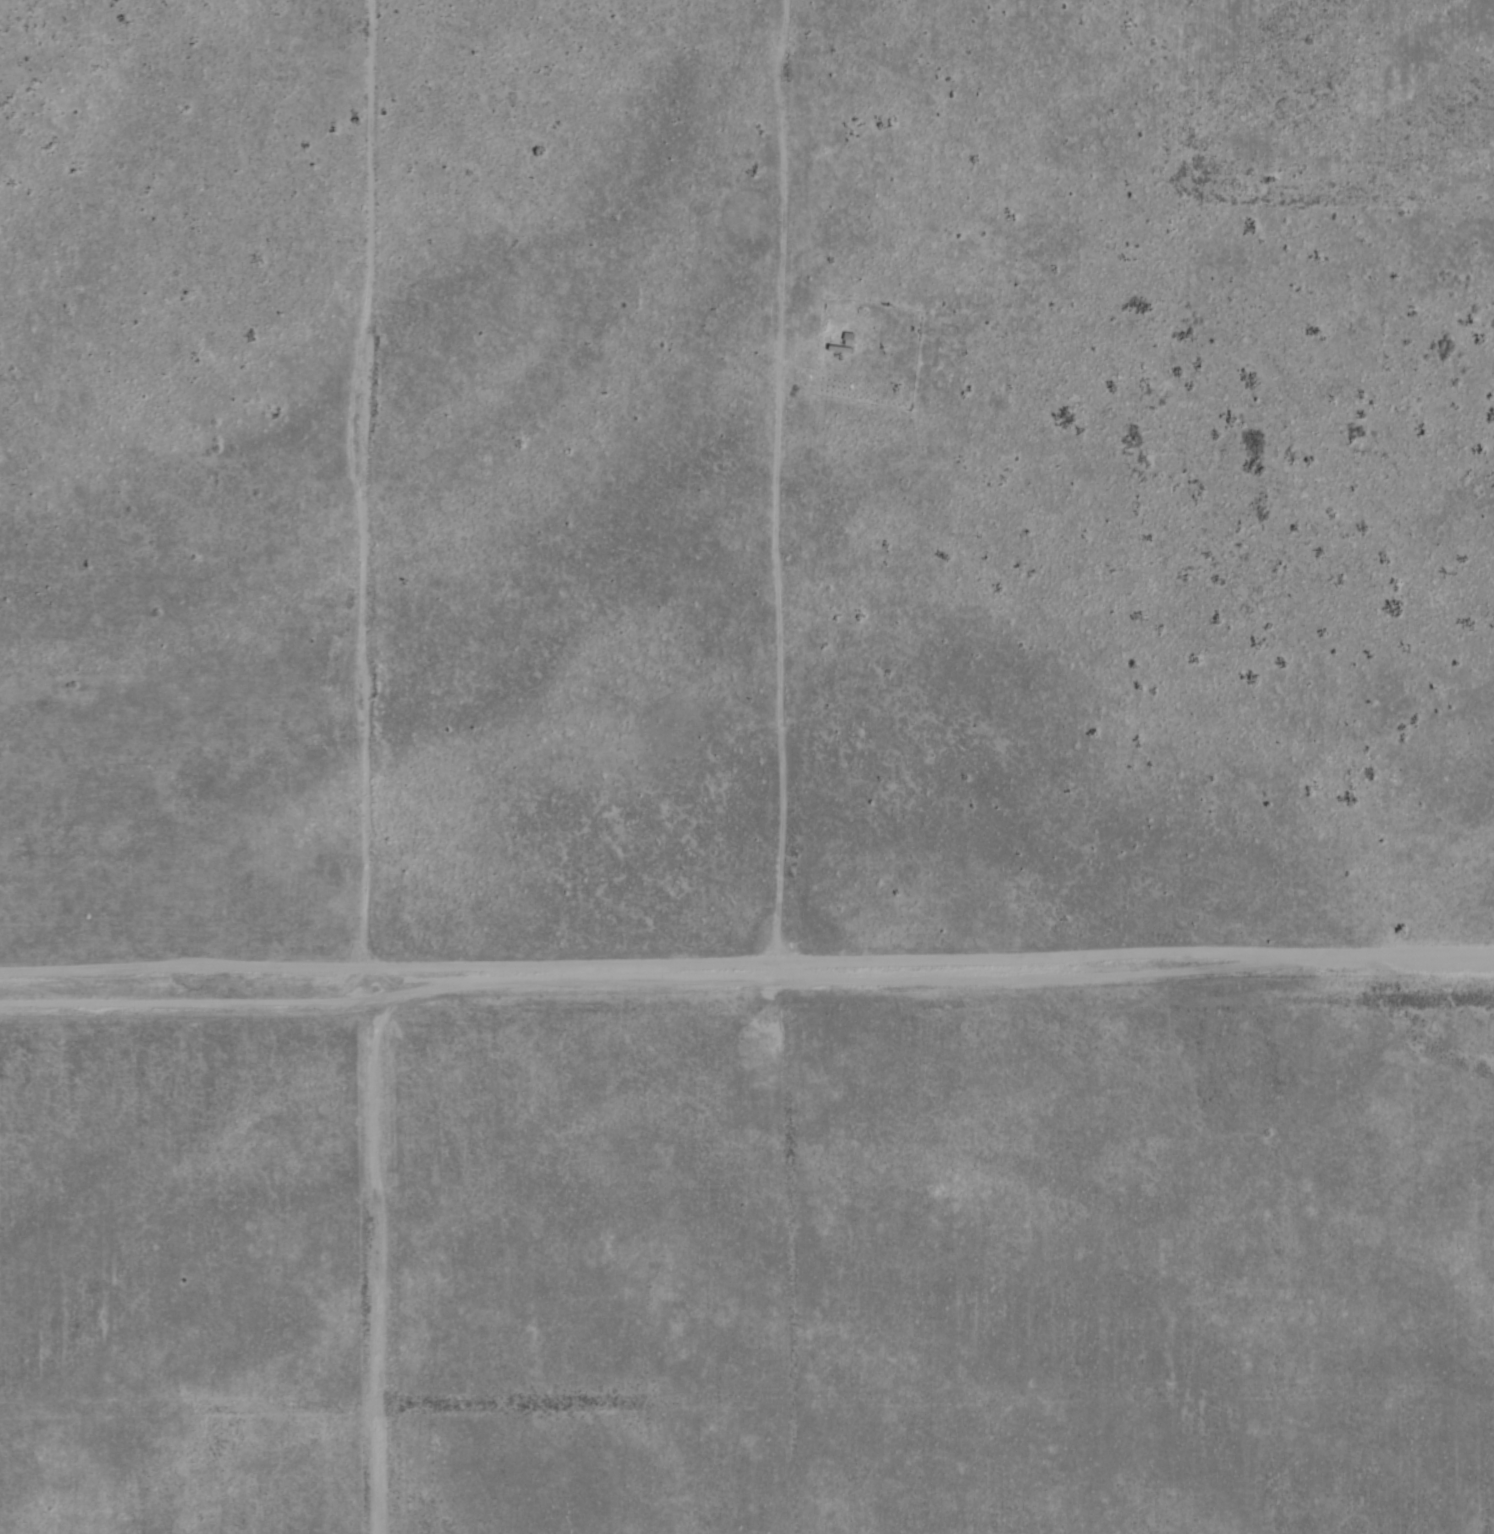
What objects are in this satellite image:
road: (783, 493)
road: (371, 503)
road: (931, 980)
road: (185, 1008)
road: (372, 1270)

